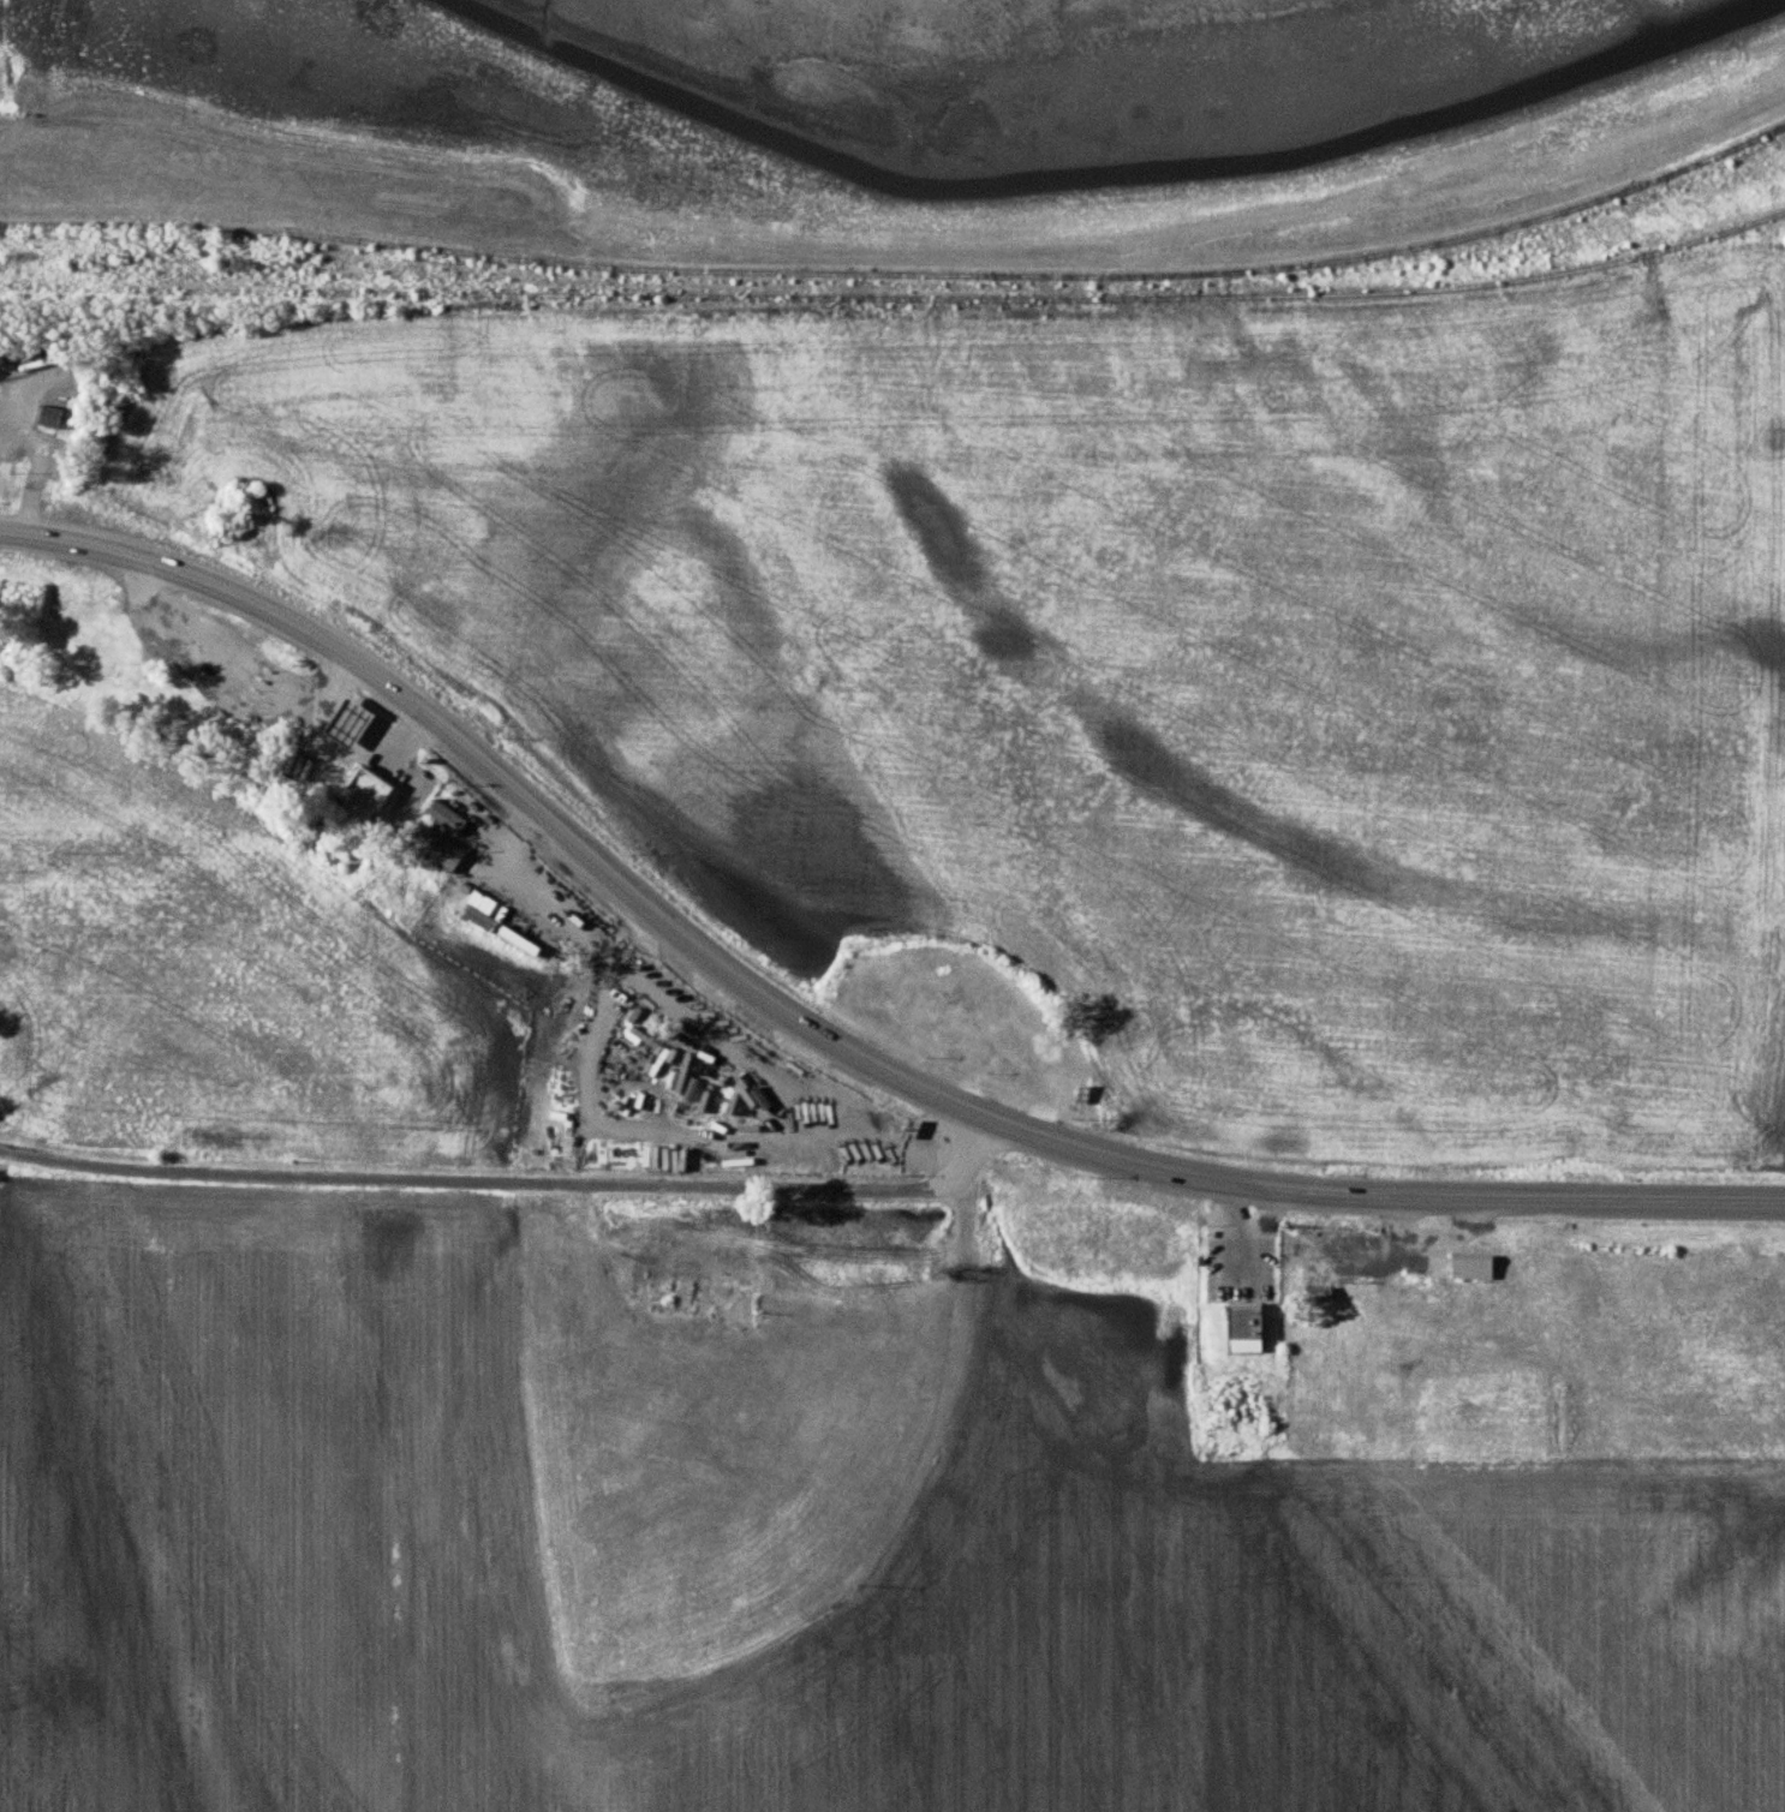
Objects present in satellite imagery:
road: (273, 150)
railway: (902, 274)
railway: (897, 299)
building: (48, 418)
building: (345, 724)
gas station: (345, 724)
building: (362, 799)
building: (438, 837)
building: (517, 943)
road: (710, 955)
road: (511, 1182)
road: (1641, 1200)
building: (1471, 1269)
building: (1317, 1296)
building: (1243, 1332)
building: (823, 1351)

